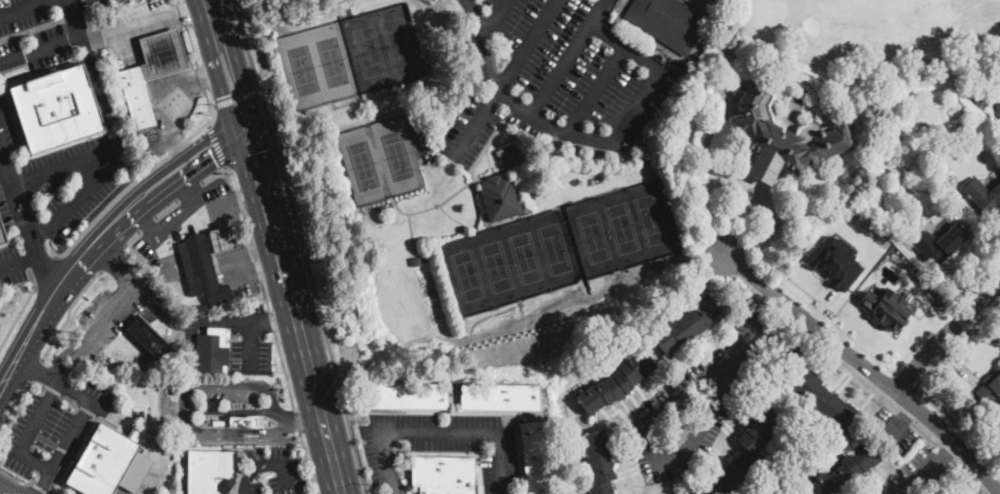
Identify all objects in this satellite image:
road: (69, 3)
road: (23, 7)
road: (601, 12)
road: (156, 20)
road: (173, 22)
building: (668, 22)
road: (77, 23)
road: (157, 27)
road: (485, 29)
road: (140, 32)
road: (218, 33)
parking lot: (32, 34)
park: (401, 43)
park: (894, 43)
road: (527, 46)
road: (40, 47)
road: (180, 48)
road: (164, 53)
park: (369, 53)
road: (147, 58)
road: (195, 60)
park: (336, 62)
road: (487, 62)
park: (305, 70)
road: (562, 70)
building: (151, 73)
road: (188, 74)
parking lot: (558, 78)
road: (172, 79)
road: (156, 84)
road: (397, 87)
road: (595, 88)
road: (160, 89)
road: (396, 90)
traffic signals: (235, 93)
road: (235, 97)
road: (238, 97)
building: (980, 100)
road: (213, 105)
building: (998, 105)
building: (56, 109)
road: (209, 123)
road: (224, 131)
building: (780, 134)
road: (595, 138)
road: (218, 145)
road: (249, 152)
traffic signals: (252, 152)
park: (398, 156)
traffic signals: (214, 157)
building: (514, 157)
park: (364, 166)
road: (101, 168)
road: (212, 173)
parking lot: (12, 178)
road: (14, 182)
road: (129, 186)
parking lot: (95, 189)
road: (462, 189)
road: (189, 190)
building: (984, 197)
building: (500, 198)
road: (232, 204)
road: (30, 207)
road: (165, 208)
building: (385, 208)
park: (655, 220)
road: (146, 223)
road: (170, 224)
road: (477, 228)
park: (624, 229)
road: (120, 231)
road: (249, 235)
building: (4, 237)
road: (133, 237)
road: (413, 237)
building: (225, 238)
road: (240, 238)
park: (592, 238)
road: (88, 243)
building: (945, 244)
road: (303, 246)
road: (51, 247)
park: (557, 249)
road: (33, 257)
road: (113, 257)
park: (526, 258)
road: (42, 260)
building: (417, 260)
building: (835, 261)
road: (13, 264)
road: (169, 265)
parking lot: (11, 266)
park: (497, 267)
road: (117, 269)
road: (255, 269)
building: (202, 270)
road: (46, 272)
park: (465, 276)
road: (120, 302)
road: (766, 303)
building: (886, 307)
road: (295, 310)
road: (67, 312)
parking lot: (115, 313)
road: (16, 316)
road: (271, 319)
road: (244, 321)
building: (687, 323)
road: (839, 329)
road: (945, 334)
road: (782, 336)
building: (147, 338)
parking lot: (250, 338)
road: (918, 342)
road: (956, 342)
road: (249, 346)
building: (212, 354)
road: (67, 361)
road: (865, 367)
road: (34, 369)
road: (283, 369)
road: (39, 370)
road: (904, 380)
road: (36, 381)
road: (12, 382)
building: (617, 382)
building: (989, 390)
road: (82, 393)
parking lot: (228, 395)
building: (408, 396)
road: (186, 397)
building: (501, 397)
building: (825, 403)
road: (14, 404)
road: (236, 411)
road: (903, 414)
road: (909, 414)
road: (305, 415)
road: (296, 418)
building: (239, 421)
parking lot: (52, 425)
road: (958, 425)
road: (895, 430)
road: (437, 432)
road: (213, 437)
parking lot: (442, 446)
building: (750, 450)
road: (466, 452)
road: (949, 452)
building: (536, 457)
road: (679, 458)
road: (35, 460)
building: (102, 461)
road: (307, 461)
building: (598, 462)
road: (255, 465)
building: (210, 471)
building: (845, 471)
parking lot: (272, 473)
building: (445, 475)
road: (921, 477)
road: (288, 478)
road: (16, 479)
road: (44, 481)
road: (12, 486)
road: (39, 488)

